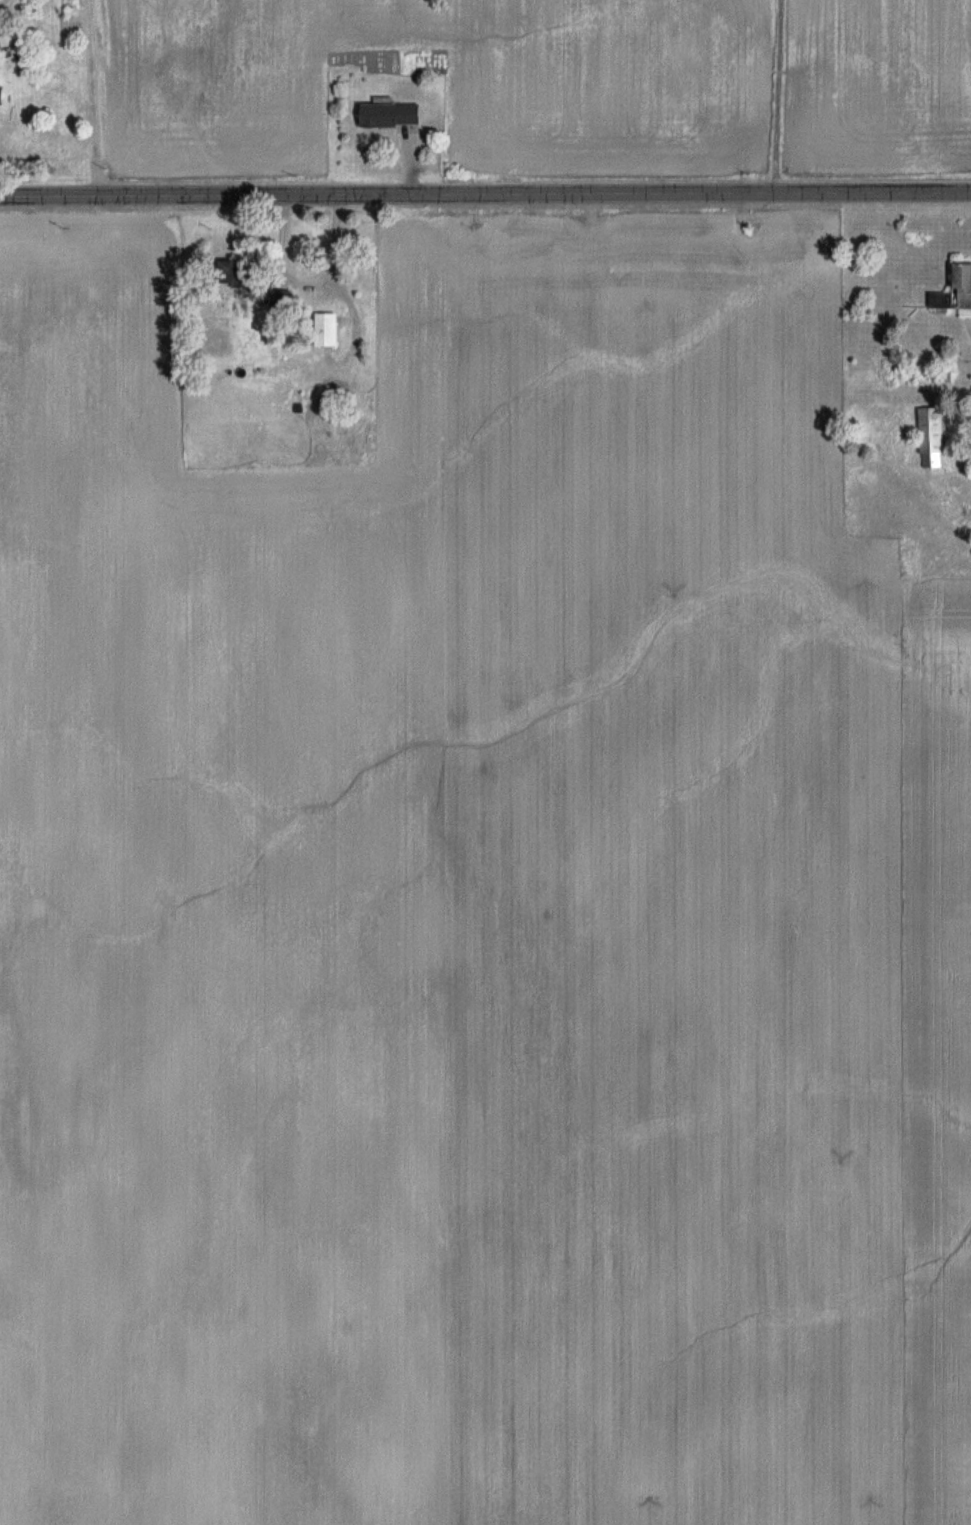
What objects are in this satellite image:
crop: (564, 86)
building: (2, 93)
road: (776, 95)
building: (391, 116)
road: (485, 192)
building: (238, 273)
road: (310, 281)
building: (956, 294)
building: (282, 303)
building: (327, 330)
building: (932, 438)

